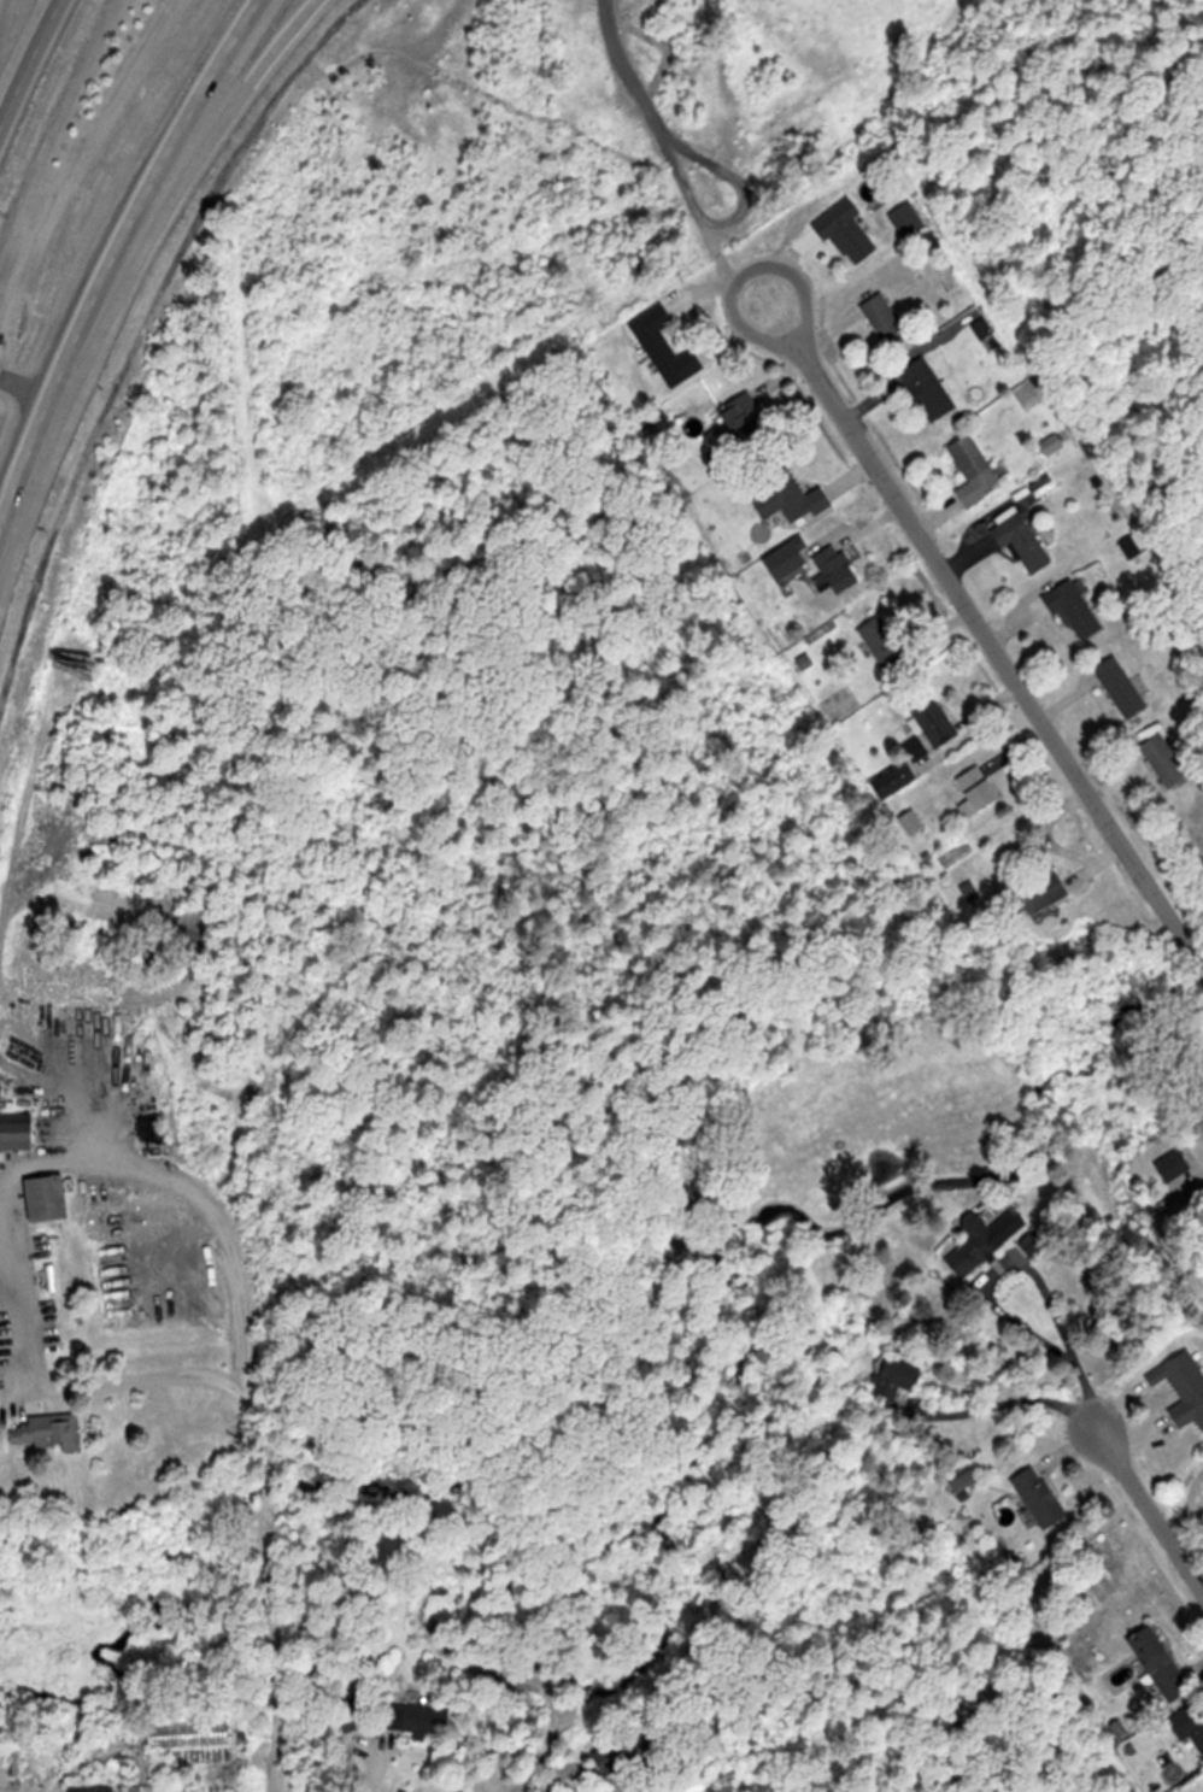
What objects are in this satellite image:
road: (24, 54)
road: (164, 216)
building: (909, 218)
building: (849, 230)
road: (112, 251)
building: (887, 321)
building: (667, 346)
building: (929, 388)
building: (746, 419)
building: (975, 469)
building: (792, 495)
building: (1025, 544)
building: (839, 566)
building: (1076, 609)
road: (988, 636)
building: (888, 642)
building: (1125, 686)
building: (841, 701)
building: (935, 718)
building: (1170, 760)
building: (900, 776)
building: (979, 791)
building: (912, 821)
building: (1048, 893)
building: (18, 1133)
building: (1174, 1164)
building: (51, 1197)
building: (980, 1242)
building: (896, 1381)
building: (1185, 1386)
building: (49, 1430)
road: (1116, 1462)
road: (260, 1469)
building: (1041, 1496)
road: (1169, 1543)
building: (440, 1629)
building: (1162, 1662)
building: (417, 1717)
building: (1191, 1722)
building: (190, 1733)
building: (628, 1751)
road: (585, 1770)
building: (96, 1788)

